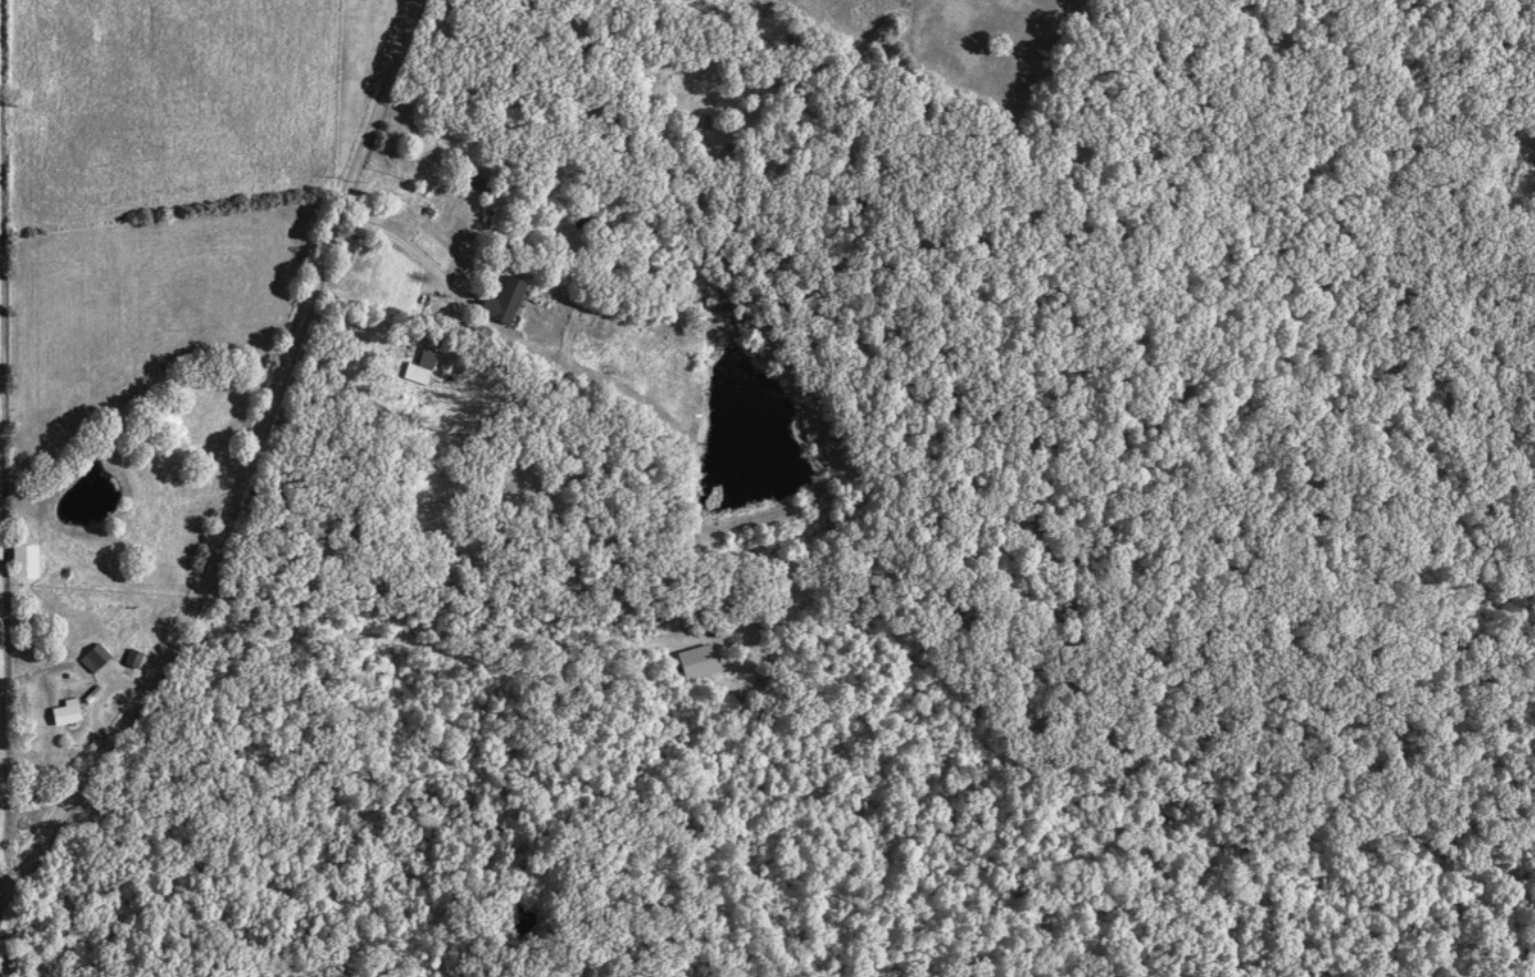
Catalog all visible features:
road: (397, 242)
building: (499, 303)
building: (422, 360)
road: (245, 464)
building: (13, 561)
road: (425, 648)
building: (90, 659)
building: (129, 660)
building: (691, 662)
building: (61, 715)

